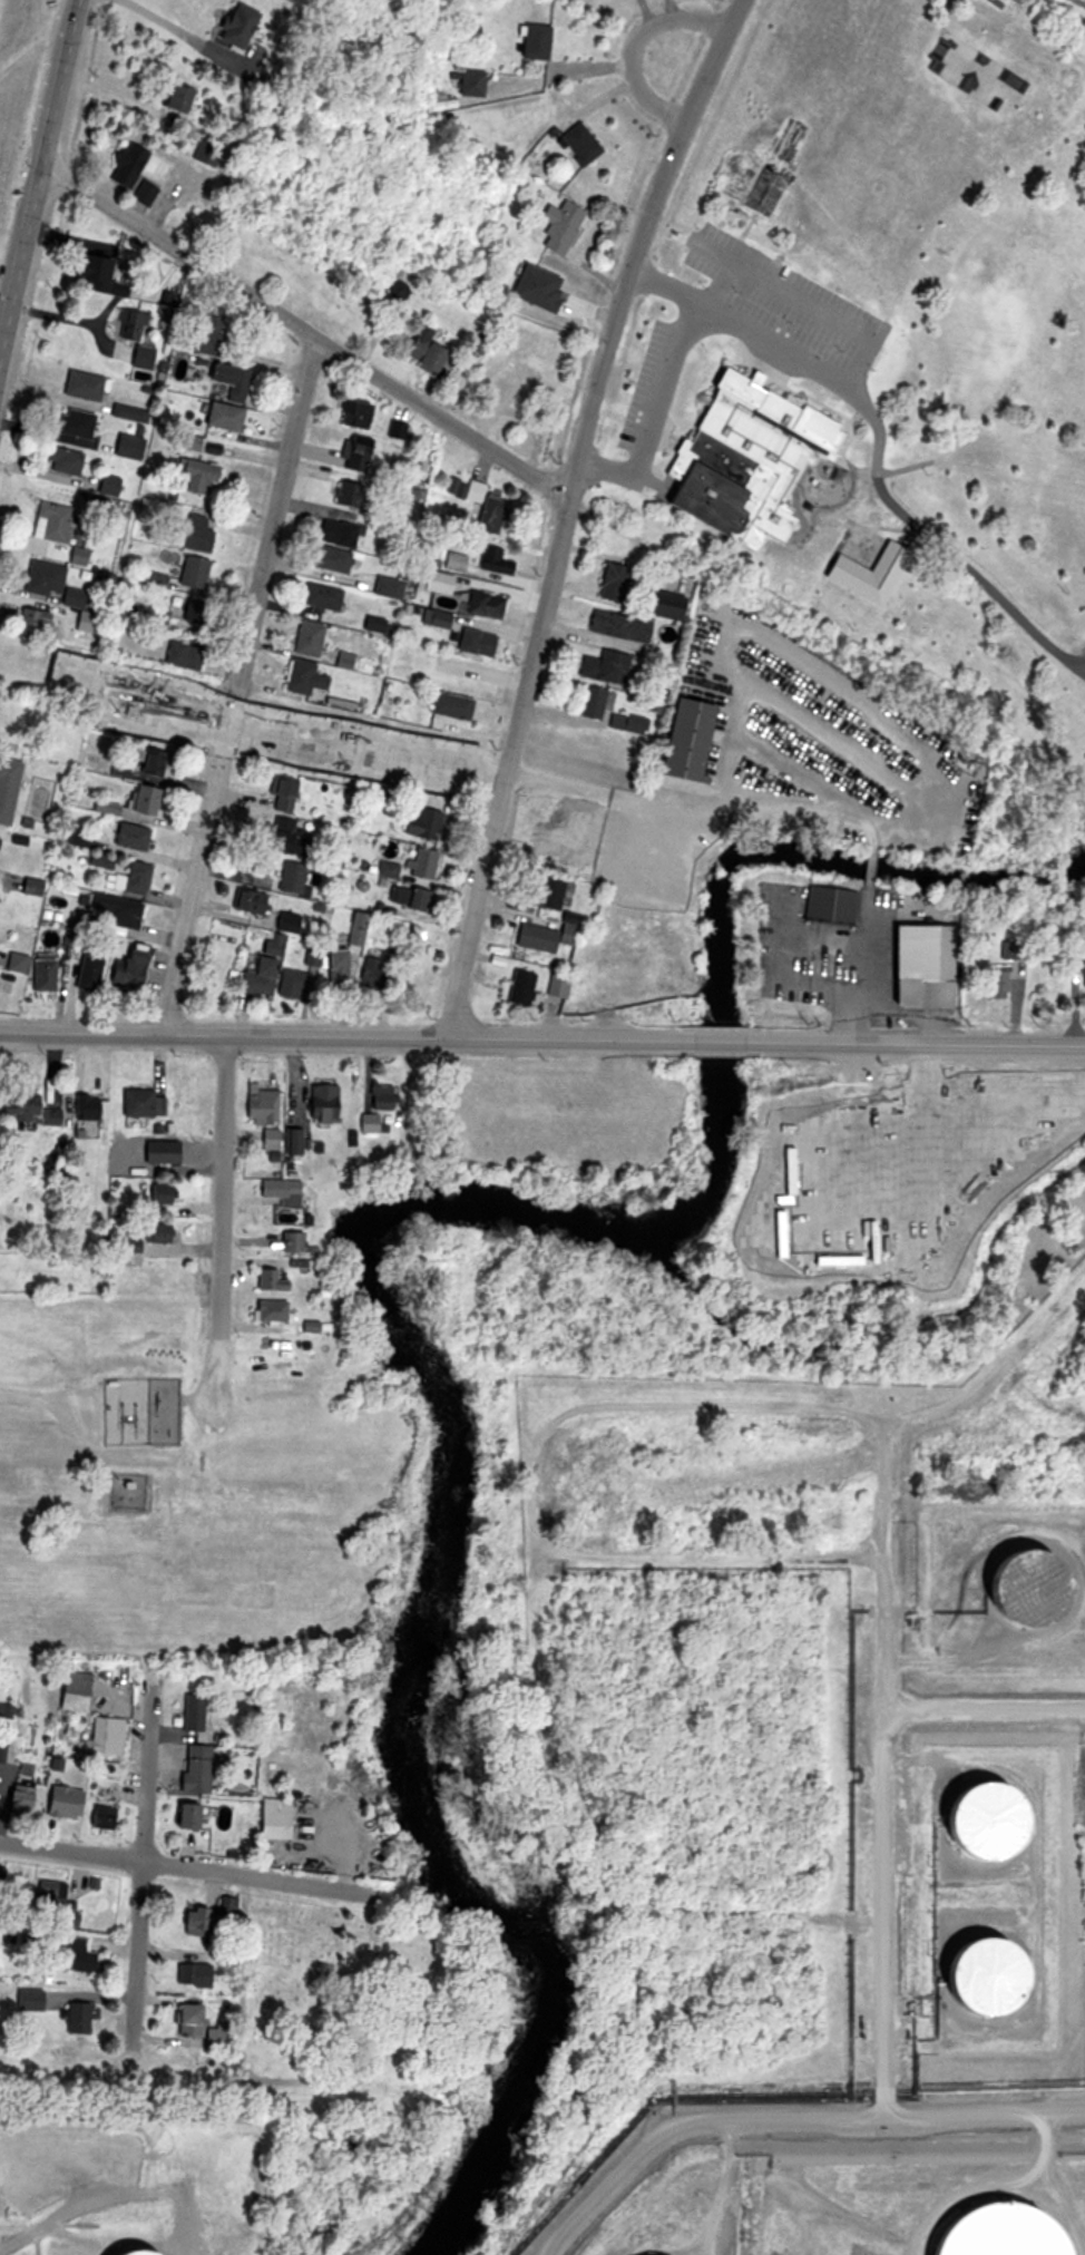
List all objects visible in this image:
road: (61, 82)
road: (178, 252)
road: (21, 263)
road: (440, 419)
park: (867, 455)
road: (236, 686)
road: (81, 1033)
road: (194, 1035)
road: (339, 1036)
road: (221, 1210)
road: (147, 1769)
storage tank: (999, 1816)
road: (72, 1851)
road: (256, 1876)
road: (139, 1950)
storage tank: (1001, 1978)
park: (390, 1997)
storage tank: (1011, 2227)
storage tank: (674, 2254)

